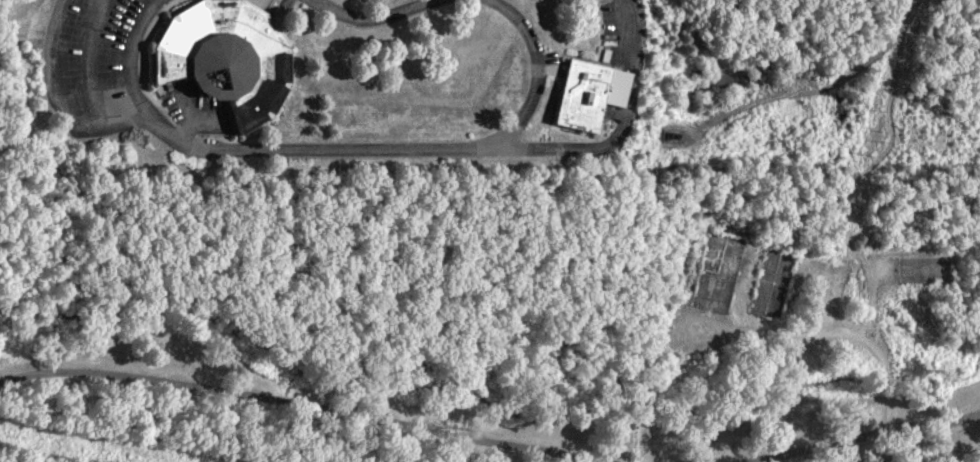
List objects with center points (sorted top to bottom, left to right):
building: (225, 58)
building: (590, 94)
park: (715, 272)
park: (773, 282)
road: (266, 412)
road: (954, 414)
road: (875, 441)

